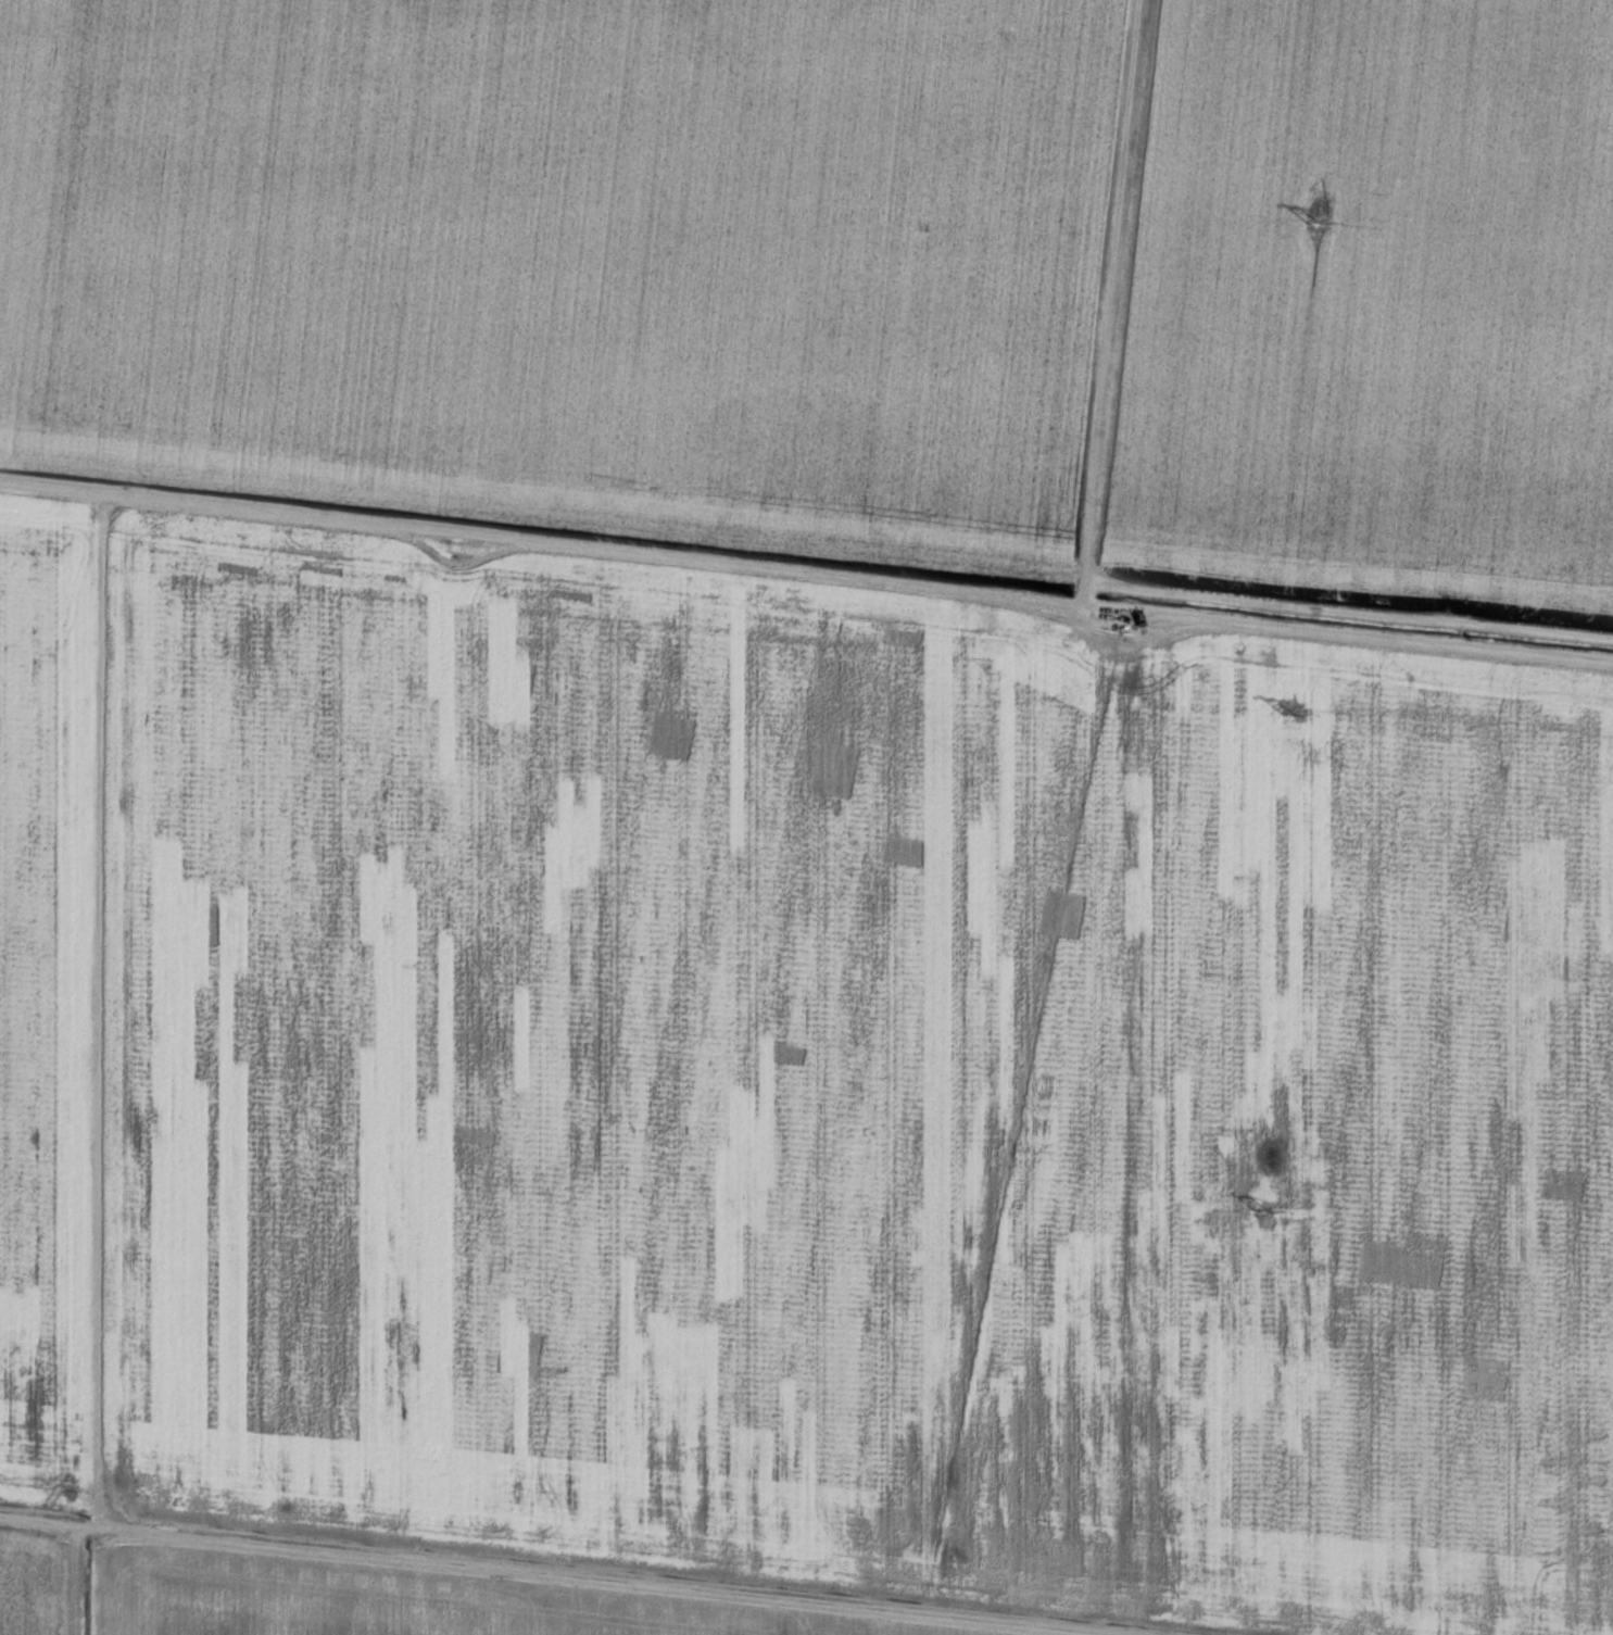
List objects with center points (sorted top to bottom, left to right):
power tower: (1316, 226)
power tower: (1291, 713)
power tower: (1264, 1210)

